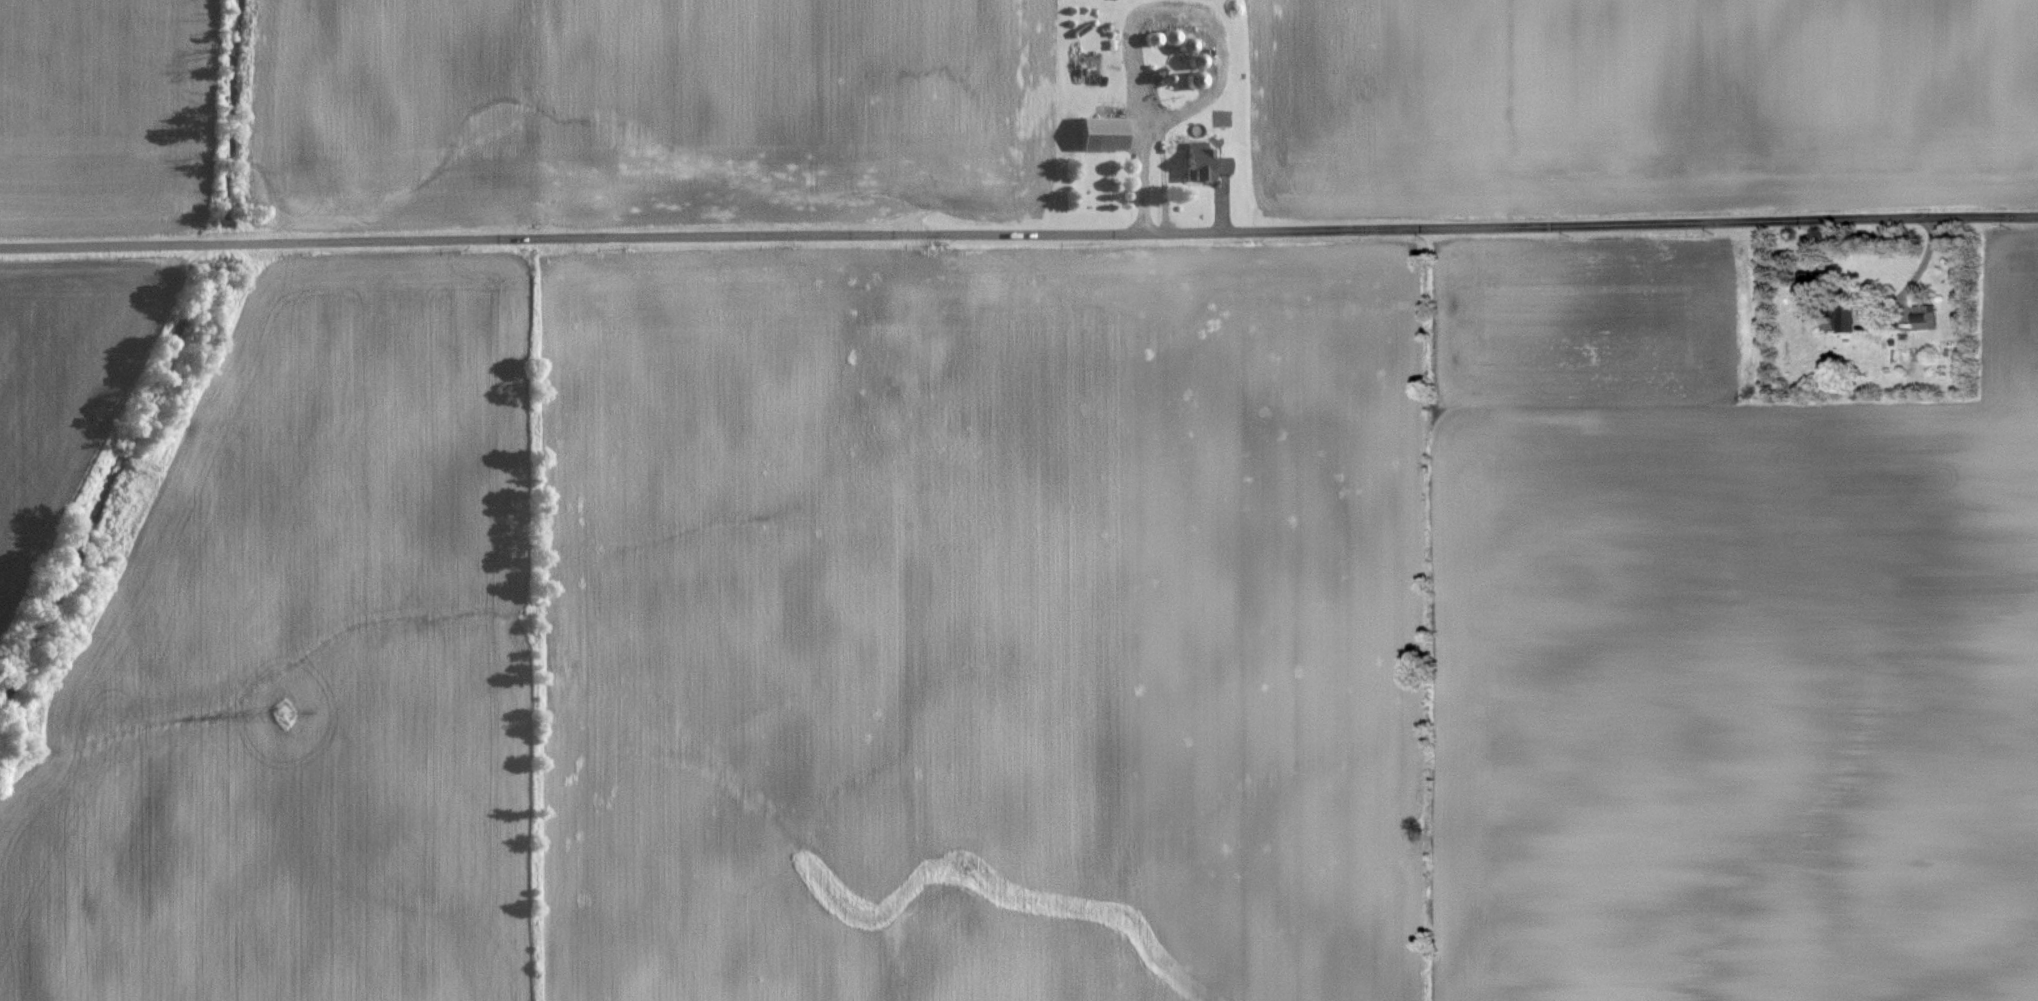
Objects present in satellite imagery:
road: (1218, 48)
building: (1103, 135)
building: (1207, 166)
road: (1145, 174)
road: (1019, 235)
building: (1928, 322)
power tower: (283, 712)

